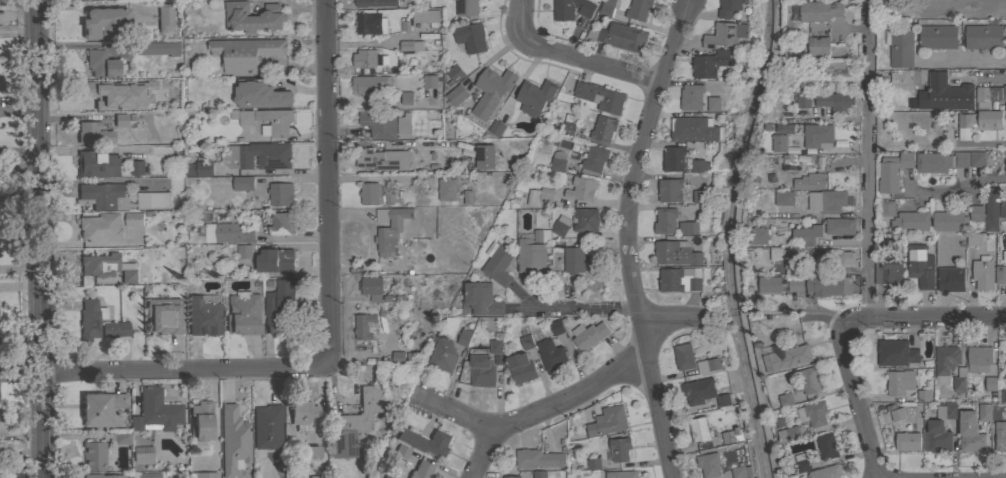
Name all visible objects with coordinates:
building: (376, 3)
building: (893, 7)
building: (467, 8)
building: (606, 8)
building: (729, 8)
building: (931, 8)
building: (976, 8)
building: (572, 9)
building: (638, 9)
building: (1005, 9)
building: (819, 11)
building: (164, 16)
building: (253, 17)
building: (422, 19)
road: (518, 19)
building: (103, 22)
building: (371, 24)
building: (725, 35)
building: (984, 36)
building: (471, 37)
building: (620, 37)
building: (937, 37)
building: (817, 46)
building: (409, 47)
building: (900, 47)
building: (157, 48)
building: (245, 54)
building: (366, 59)
road: (590, 62)
road: (963, 62)
building: (101, 63)
building: (709, 64)
building: (837, 69)
building: (455, 73)
building: (430, 81)
building: (370, 84)
building: (152, 87)
building: (491, 91)
building: (948, 93)
building: (991, 93)
building: (100, 94)
building: (259, 94)
building: (457, 94)
building: (535, 97)
building: (600, 97)
building: (691, 97)
building: (407, 98)
building: (803, 100)
building: (834, 101)
building: (713, 104)
building: (1005, 107)
building: (246, 117)
building: (120, 119)
building: (275, 122)
building: (977, 122)
building: (379, 124)
building: (404, 124)
building: (569, 125)
building: (496, 128)
building: (603, 128)
building: (686, 128)
building: (94, 133)
building: (707, 135)
building: (817, 136)
building: (777, 143)
building: (931, 147)
road: (982, 149)
building: (258, 156)
building: (484, 156)
building: (594, 158)
building: (673, 158)
building: (383, 159)
building: (977, 159)
building: (961, 160)
building: (1005, 162)
building: (98, 163)
building: (933, 163)
building: (557, 164)
building: (699, 166)
building: (137, 168)
building: (199, 168)
building: (891, 171)
building: (811, 181)
building: (243, 183)
road: (328, 184)
building: (581, 189)
building: (447, 190)
building: (670, 190)
road: (962, 192)
building: (369, 193)
building: (281, 194)
building: (104, 195)
building: (700, 196)
building: (540, 197)
building: (784, 198)
building: (464, 199)
building: (153, 200)
building: (827, 201)
building: (887, 208)
building: (1002, 208)
building: (977, 213)
building: (212, 216)
building: (991, 216)
building: (134, 219)
building: (585, 220)
building: (665, 221)
building: (949, 221)
building: (910, 222)
building: (281, 224)
building: (839, 226)
building: (100, 227)
building: (391, 228)
building: (687, 228)
building: (550, 232)
building: (227, 233)
building: (808, 234)
building: (757, 235)
road: (623, 236)
road: (40, 238)
building: (974, 239)
building: (888, 242)
building: (1005, 243)
building: (243, 251)
road: (868, 252)
building: (675, 254)
building: (530, 257)
building: (785, 257)
building: (839, 257)
building: (574, 259)
building: (275, 260)
building: (100, 264)
building: (497, 264)
building: (919, 266)
building: (405, 268)
road: (837, 270)
building: (888, 272)
building: (983, 273)
building: (128, 275)
building: (1000, 275)
building: (680, 279)
building: (950, 279)
building: (769, 284)
building: (371, 285)
building: (796, 285)
building: (829, 285)
building: (482, 299)
building: (278, 305)
road: (617, 311)
building: (244, 313)
building: (204, 314)
building: (163, 315)
building: (90, 318)
road: (824, 319)
road: (937, 322)
building: (364, 326)
building: (556, 327)
building: (115, 328)
building: (589, 335)
building: (464, 337)
building: (526, 342)
building: (496, 344)
building: (896, 353)
building: (491, 354)
building: (551, 354)
building: (443, 355)
building: (398, 357)
building: (684, 357)
building: (793, 357)
building: (980, 357)
building: (1005, 358)
building: (945, 363)
building: (711, 365)
building: (481, 368)
building: (521, 368)
road: (187, 374)
building: (959, 380)
building: (808, 381)
building: (900, 382)
building: (991, 384)
building: (703, 392)
building: (924, 396)
building: (1003, 396)
building: (785, 400)
road: (546, 406)
building: (101, 408)
building: (156, 411)
building: (302, 411)
building: (945, 411)
road: (453, 412)
building: (813, 413)
building: (984, 413)
building: (897, 414)
building: (354, 421)
building: (608, 421)
building: (201, 422)
building: (267, 426)
building: (699, 430)
building: (789, 434)
building: (732, 436)
building: (1000, 436)
building: (117, 437)
building: (936, 437)
building: (233, 439)
building: (424, 440)
building: (971, 440)
building: (907, 441)
building: (827, 446)
building: (619, 449)
building: (402, 451)
building: (311, 452)
building: (143, 454)
building: (94, 455)
building: (539, 458)
building: (802, 462)
building: (594, 464)
building: (709, 465)
building: (421, 470)
building: (741, 472)
building: (826, 472)
building: (540, 474)
building: (621, 474)
building: (148, 475)
building: (205, 475)
building: (101, 476)
building: (318, 476)
building: (386, 476)
building: (381, 477)
building: (513, 477)

